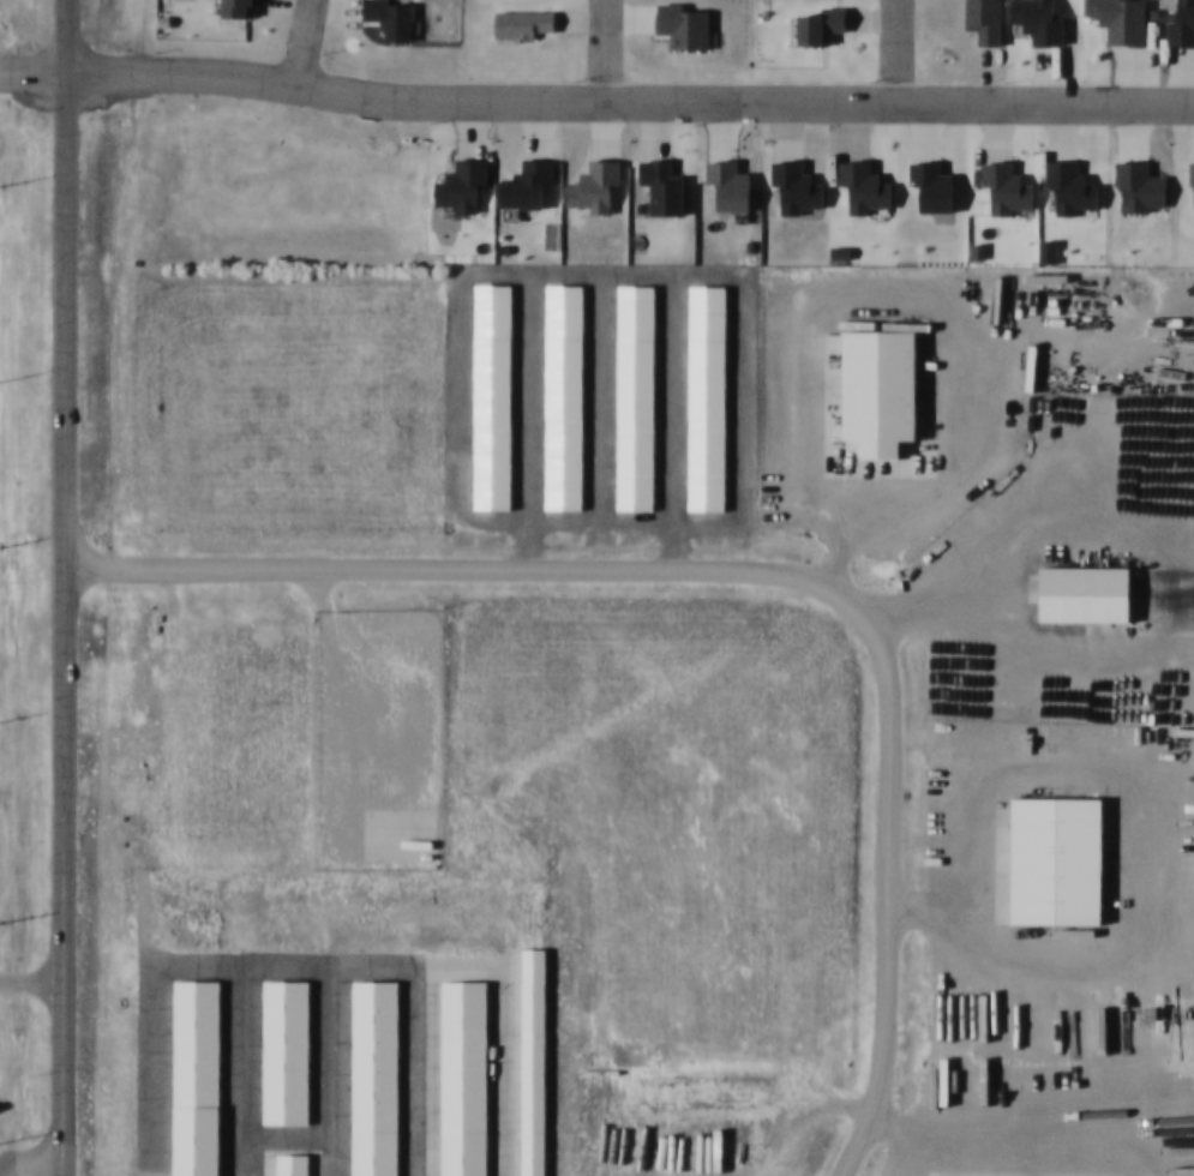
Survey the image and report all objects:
road: (289, 38)
road: (592, 48)
road: (881, 48)
road: (595, 97)
building: (1156, 289)
building: (638, 397)
building: (706, 398)
road: (758, 566)
road: (62, 588)
building: (1079, 593)
building: (1050, 862)
road: (31, 977)
building: (288, 1051)
building: (536, 1062)
building: (199, 1076)
building: (378, 1078)
building: (467, 1078)
building: (295, 1164)

